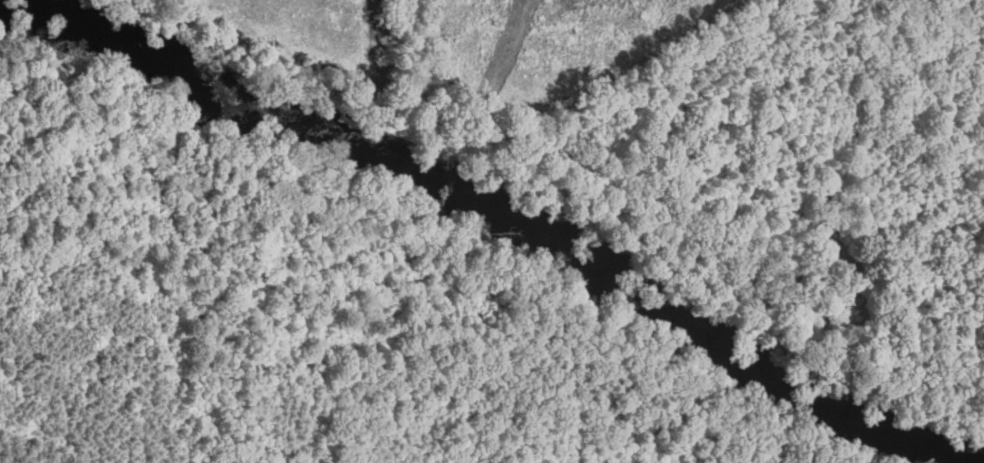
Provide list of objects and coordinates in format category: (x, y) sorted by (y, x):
river: (203, 82)
river: (618, 272)
river: (892, 429)

